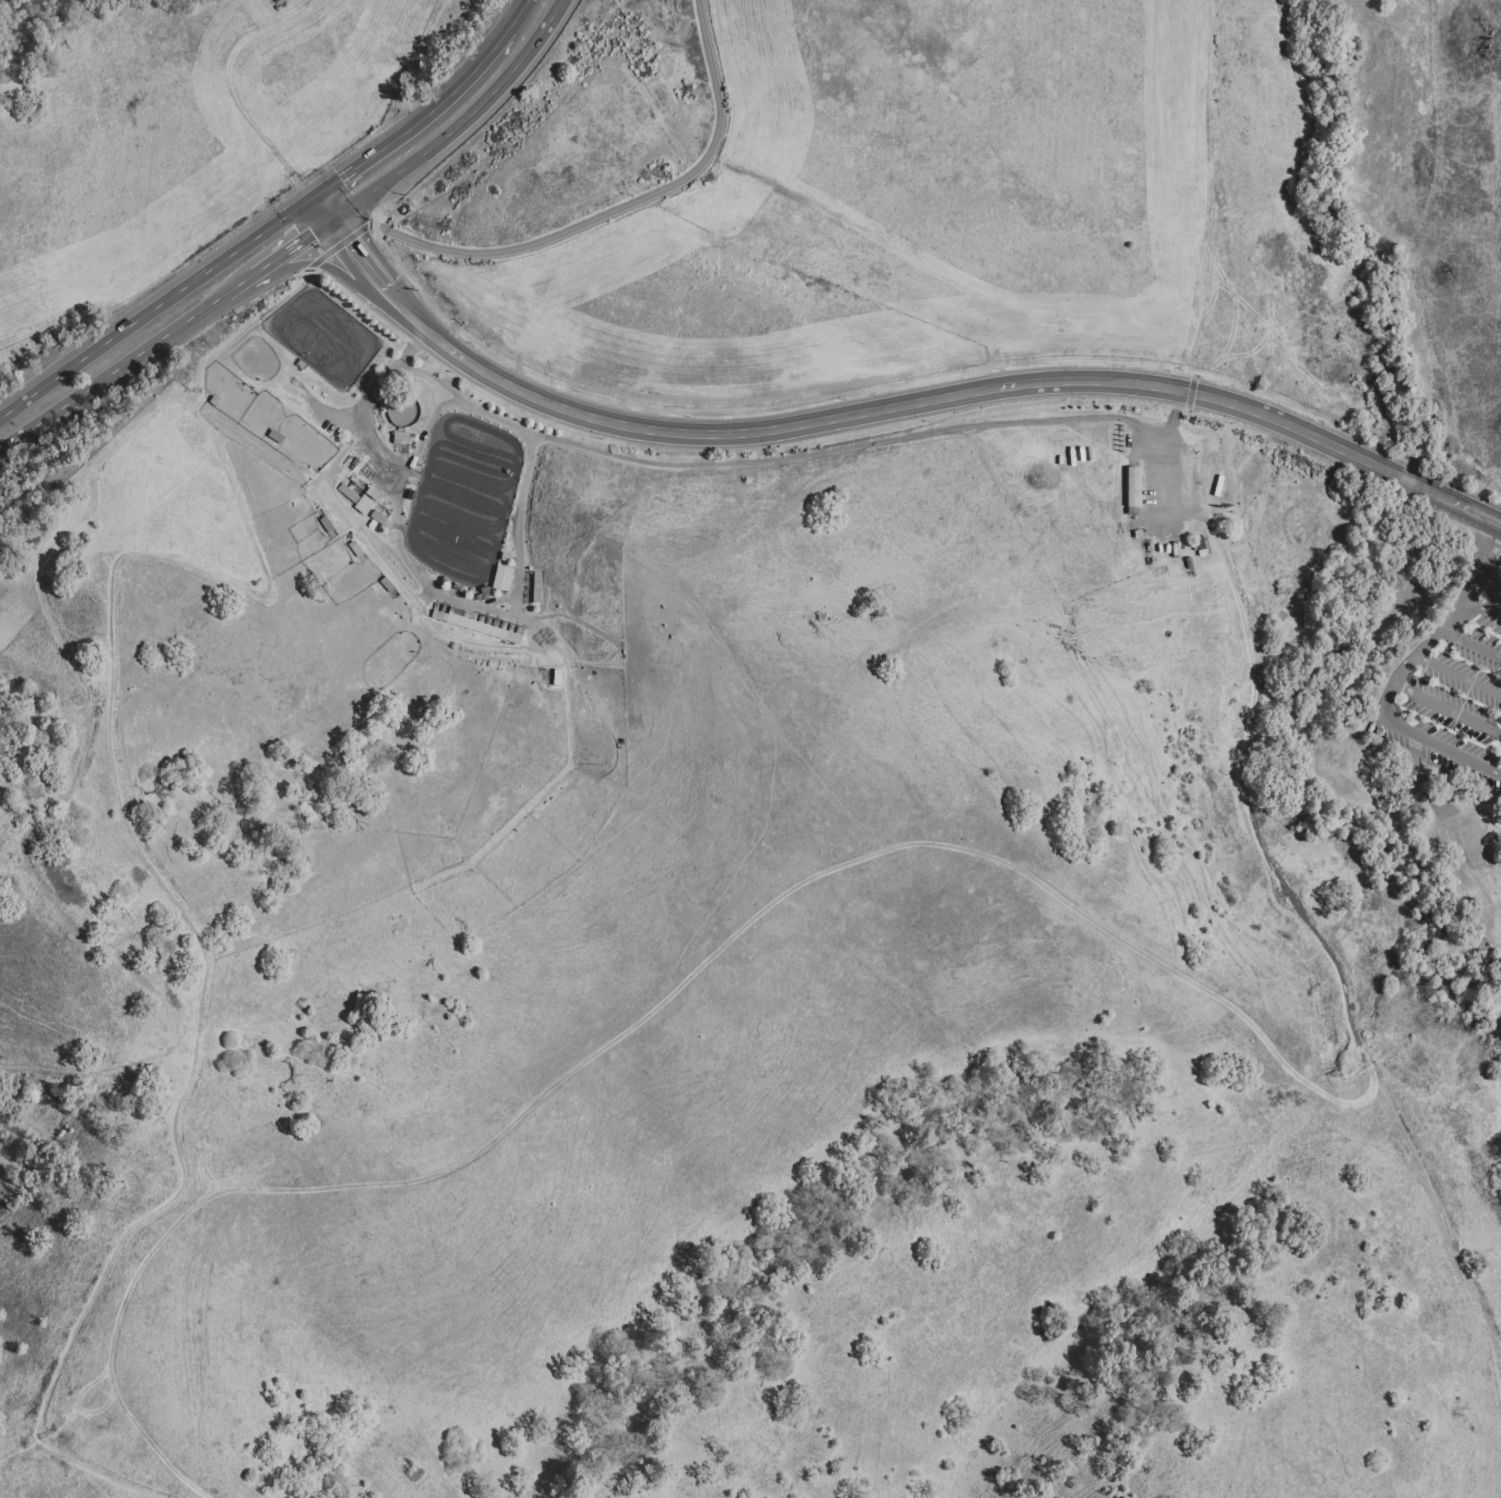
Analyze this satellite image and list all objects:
road: (519, 15)
road: (228, 87)
road: (417, 122)
road: (462, 127)
traffic signals: (337, 178)
road: (1211, 196)
road: (320, 210)
road: (589, 220)
traffic signals: (313, 237)
building: (635, 237)
traffic signals: (346, 244)
road: (292, 250)
building: (697, 252)
road: (357, 257)
building: (584, 259)
road: (321, 264)
road: (252, 280)
building: (514, 280)
building: (768, 287)
road: (388, 293)
road: (154, 304)
building: (774, 318)
road: (172, 336)
building: (301, 363)
building: (749, 367)
building: (592, 371)
building: (639, 381)
building: (687, 384)
road: (1191, 385)
building: (323, 395)
road: (1189, 402)
road: (1173, 409)
road: (884, 410)
road: (47, 419)
building: (276, 436)
building: (400, 437)
building: (1189, 451)
road: (776, 460)
road: (1406, 478)
building: (1131, 487)
building: (373, 492)
building: (348, 493)
road: (396, 496)
road: (1454, 501)
building: (363, 504)
building: (1133, 516)
building: (378, 517)
road: (1498, 521)
building: (1138, 533)
road: (517, 539)
building: (1235, 540)
building: (1236, 547)
building: (1247, 550)
building: (1145, 551)
building: (1248, 556)
road: (383, 560)
road: (1481, 560)
building: (1251, 563)
building: (1253, 568)
building: (1253, 574)
building: (502, 578)
building: (1253, 579)
building: (1255, 584)
building: (535, 587)
building: (1255, 589)
building: (486, 594)
building: (1257, 594)
building: (472, 598)
building: (1258, 599)
building: (1260, 604)
building: (1261, 608)
road: (1483, 608)
building: (1262, 614)
building: (476, 626)
road: (1443, 629)
road: (1472, 643)
road: (1403, 668)
building: (1239, 675)
road: (1458, 676)
building: (1232, 677)
building: (1249, 678)
building: (1247, 683)
building: (1245, 688)
parking lot: (1450, 693)
road: (1385, 701)
road: (1447, 708)
building: (1241, 716)
building: (1270, 723)
building: (1237, 724)
building: (1242, 725)
building: (1237, 731)
building: (1239, 737)
road: (1248, 737)
building: (1260, 744)
road: (1439, 746)
building: (1262, 798)
building: (1427, 812)
building: (1273, 820)
road: (124, 822)
building: (1271, 826)
building: (1270, 832)
building: (1270, 839)
building: (1268, 846)
building: (1338, 852)
building: (1304, 878)
building: (1360, 888)
building: (1316, 911)
building: (1371, 940)
building: (1344, 947)

